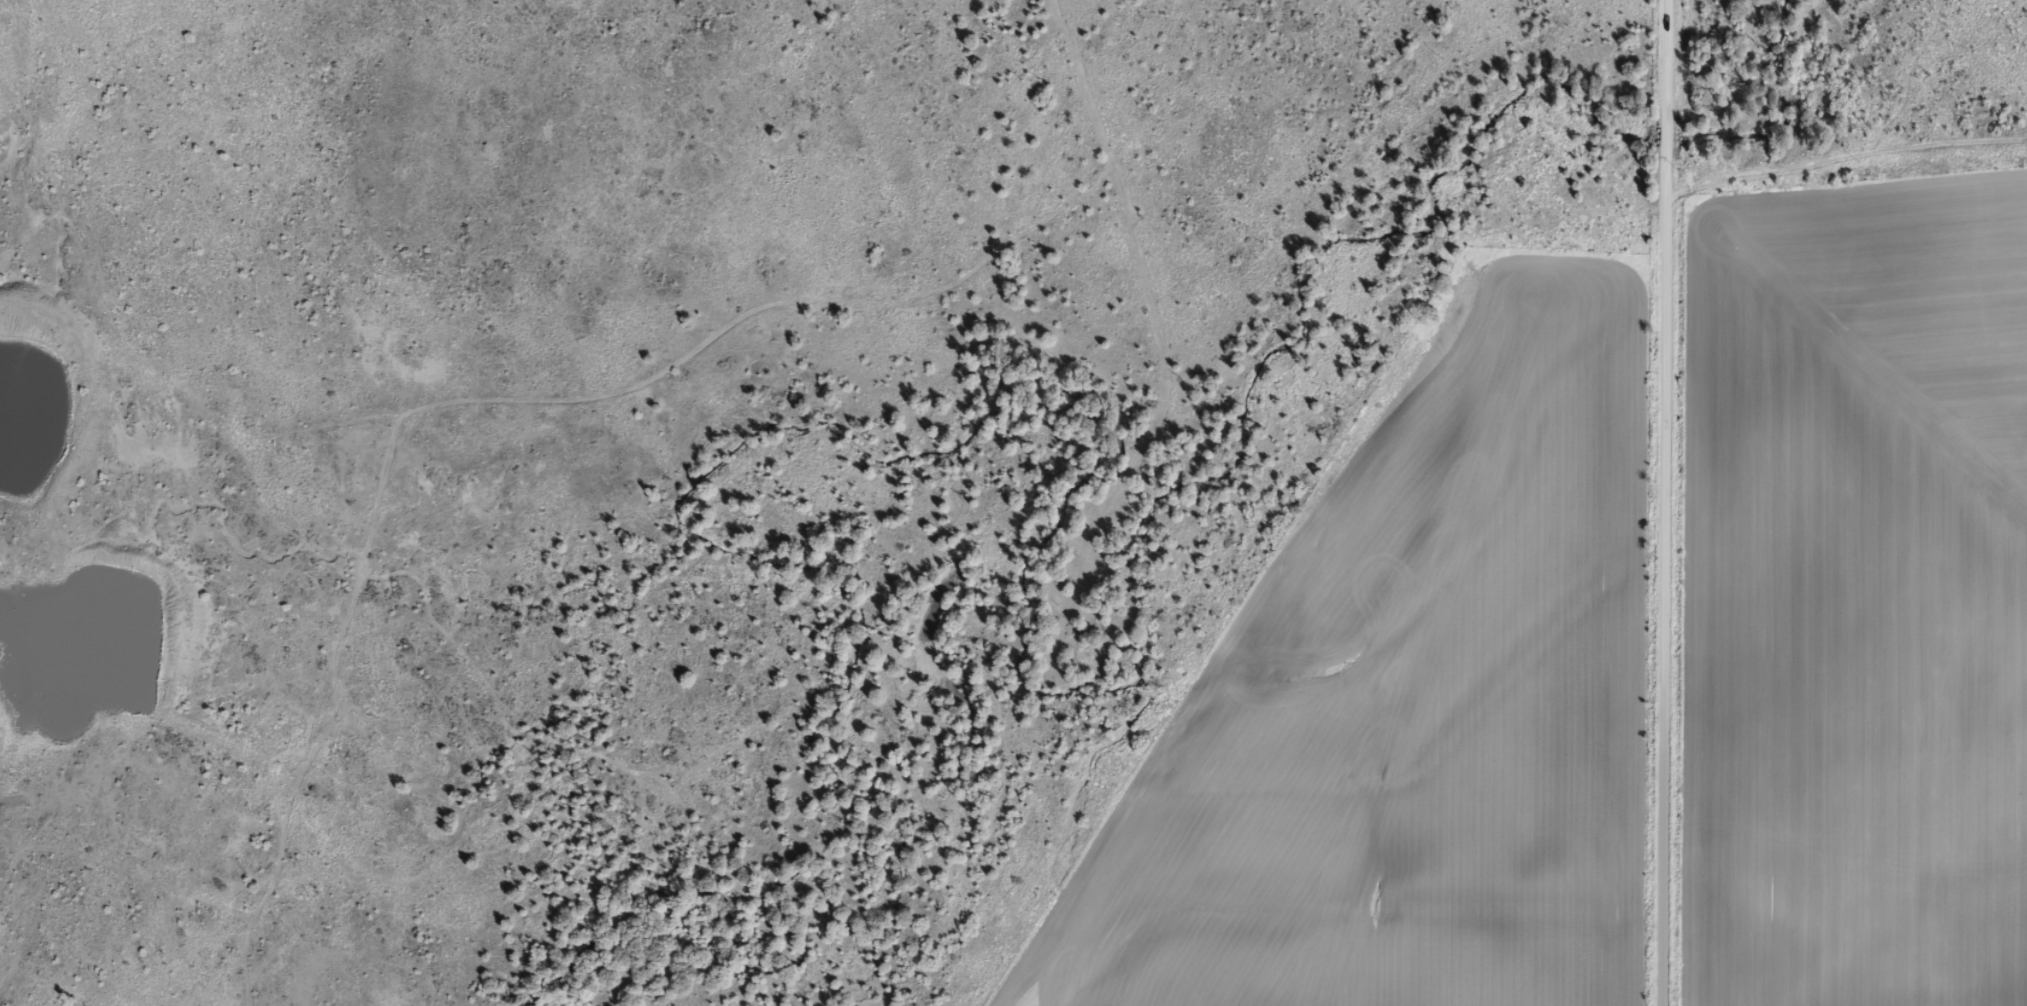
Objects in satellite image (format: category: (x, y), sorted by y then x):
road: (1667, 502)

